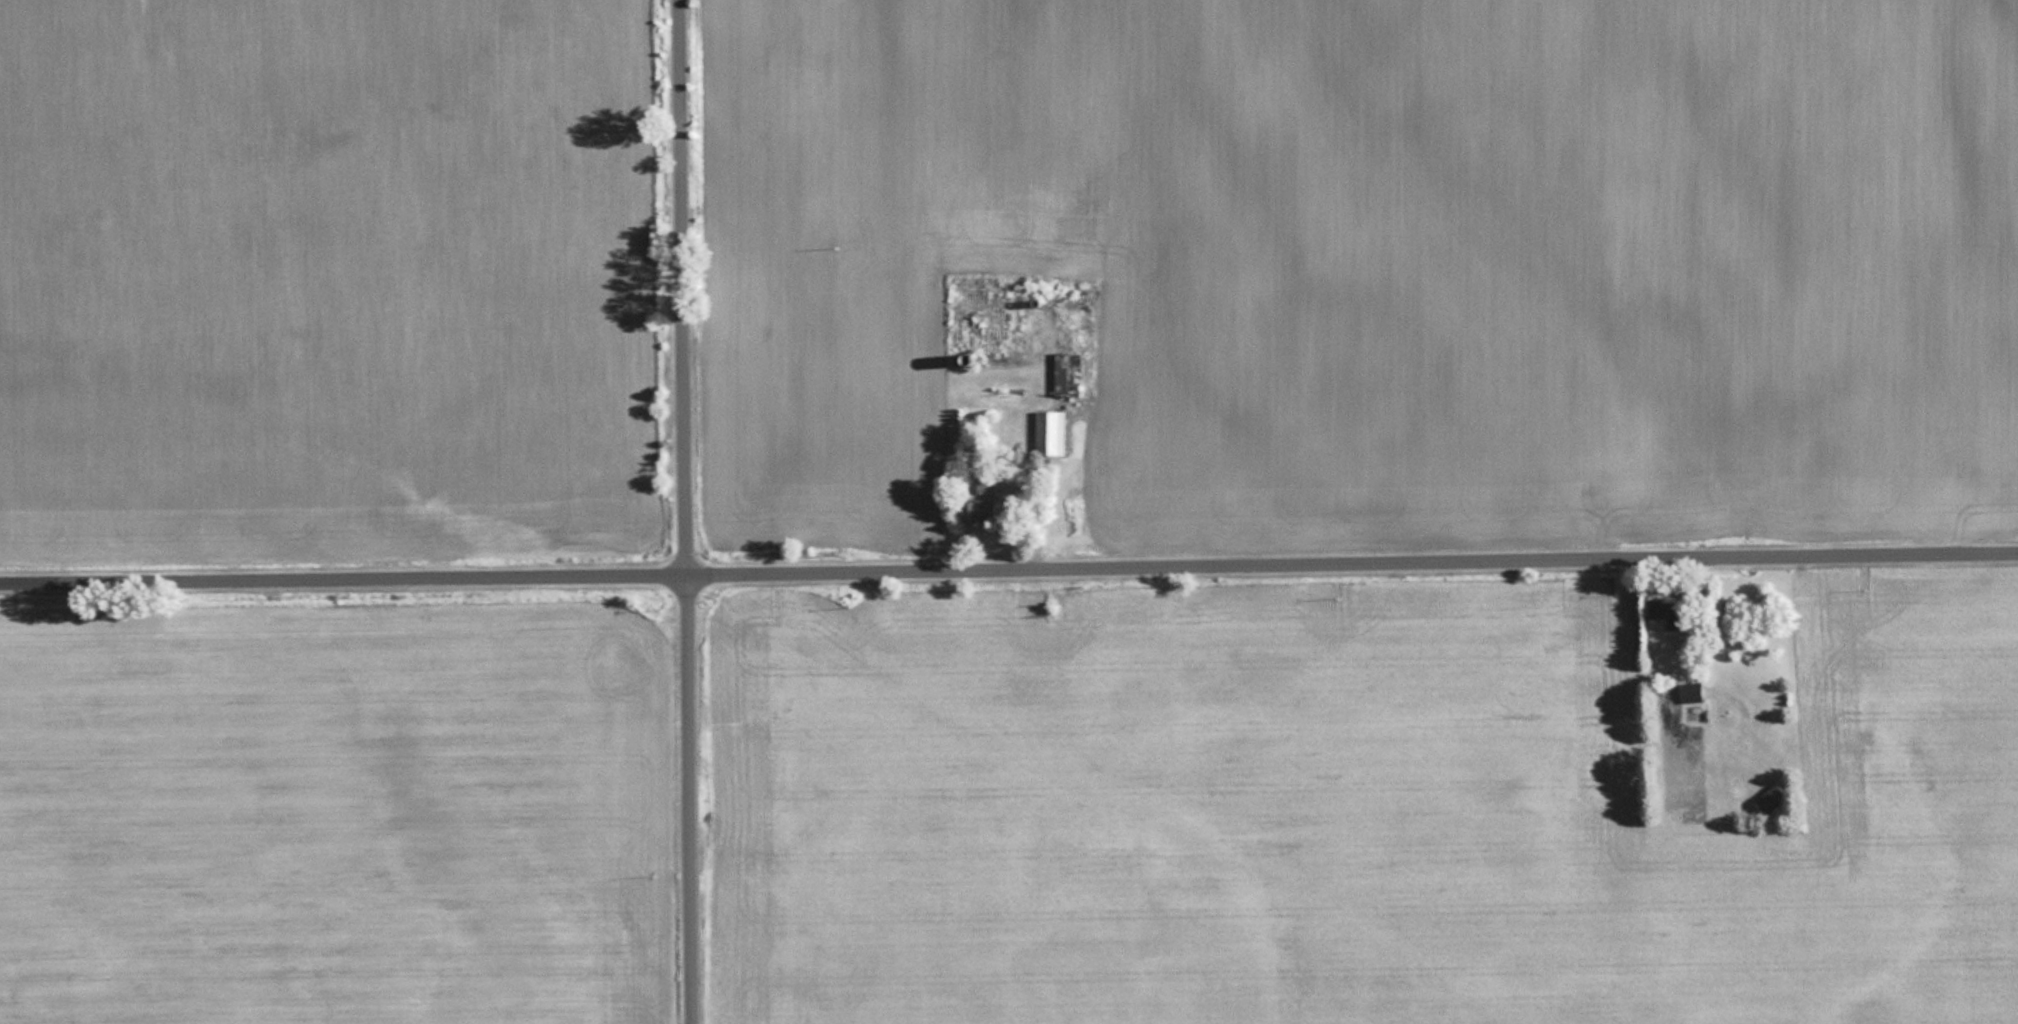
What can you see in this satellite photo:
building: (1067, 374)
building: (1049, 433)
building: (981, 500)
road: (688, 511)
road: (1009, 572)
building: (1667, 610)
building: (1692, 691)
building: (1769, 799)

